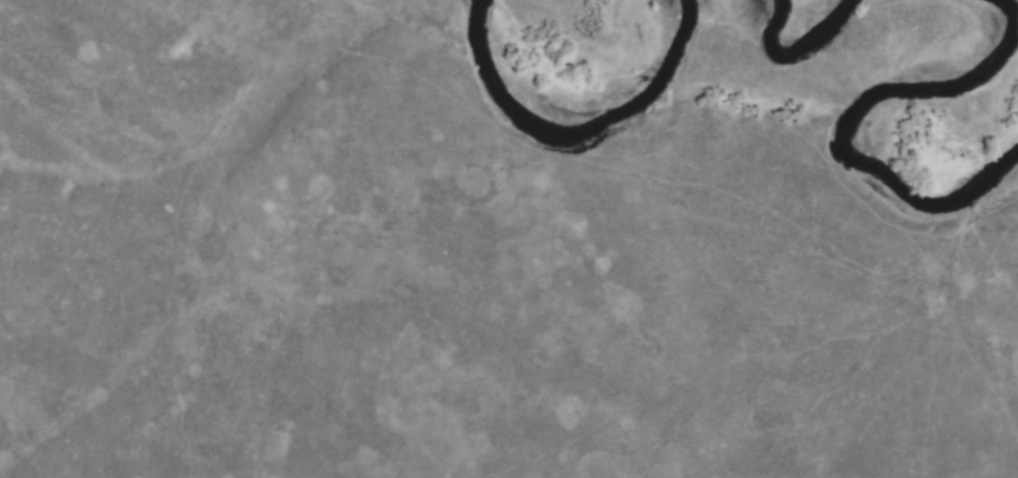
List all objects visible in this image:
river: (795, 42)
river: (852, 122)
river: (577, 126)

